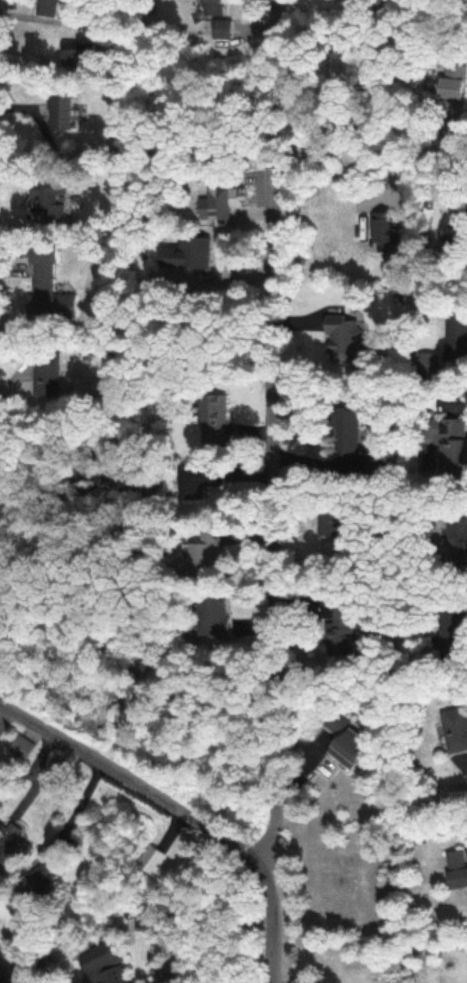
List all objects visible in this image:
building: (48, 8)
building: (219, 20)
building: (78, 53)
building: (453, 98)
building: (60, 111)
road: (233, 146)
building: (49, 199)
building: (221, 205)
building: (459, 216)
building: (188, 255)
building: (48, 284)
building: (456, 338)
building: (345, 339)
building: (47, 377)
building: (214, 418)
building: (353, 435)
building: (455, 449)
building: (374, 466)
building: (199, 481)
road: (266, 492)
building: (457, 534)
building: (203, 550)
building: (212, 615)
building: (342, 629)
building: (455, 729)
building: (348, 738)
building: (21, 747)
building: (57, 771)
road: (136, 787)
building: (13, 844)
building: (150, 859)
building: (456, 869)
building: (42, 883)
building: (104, 964)

